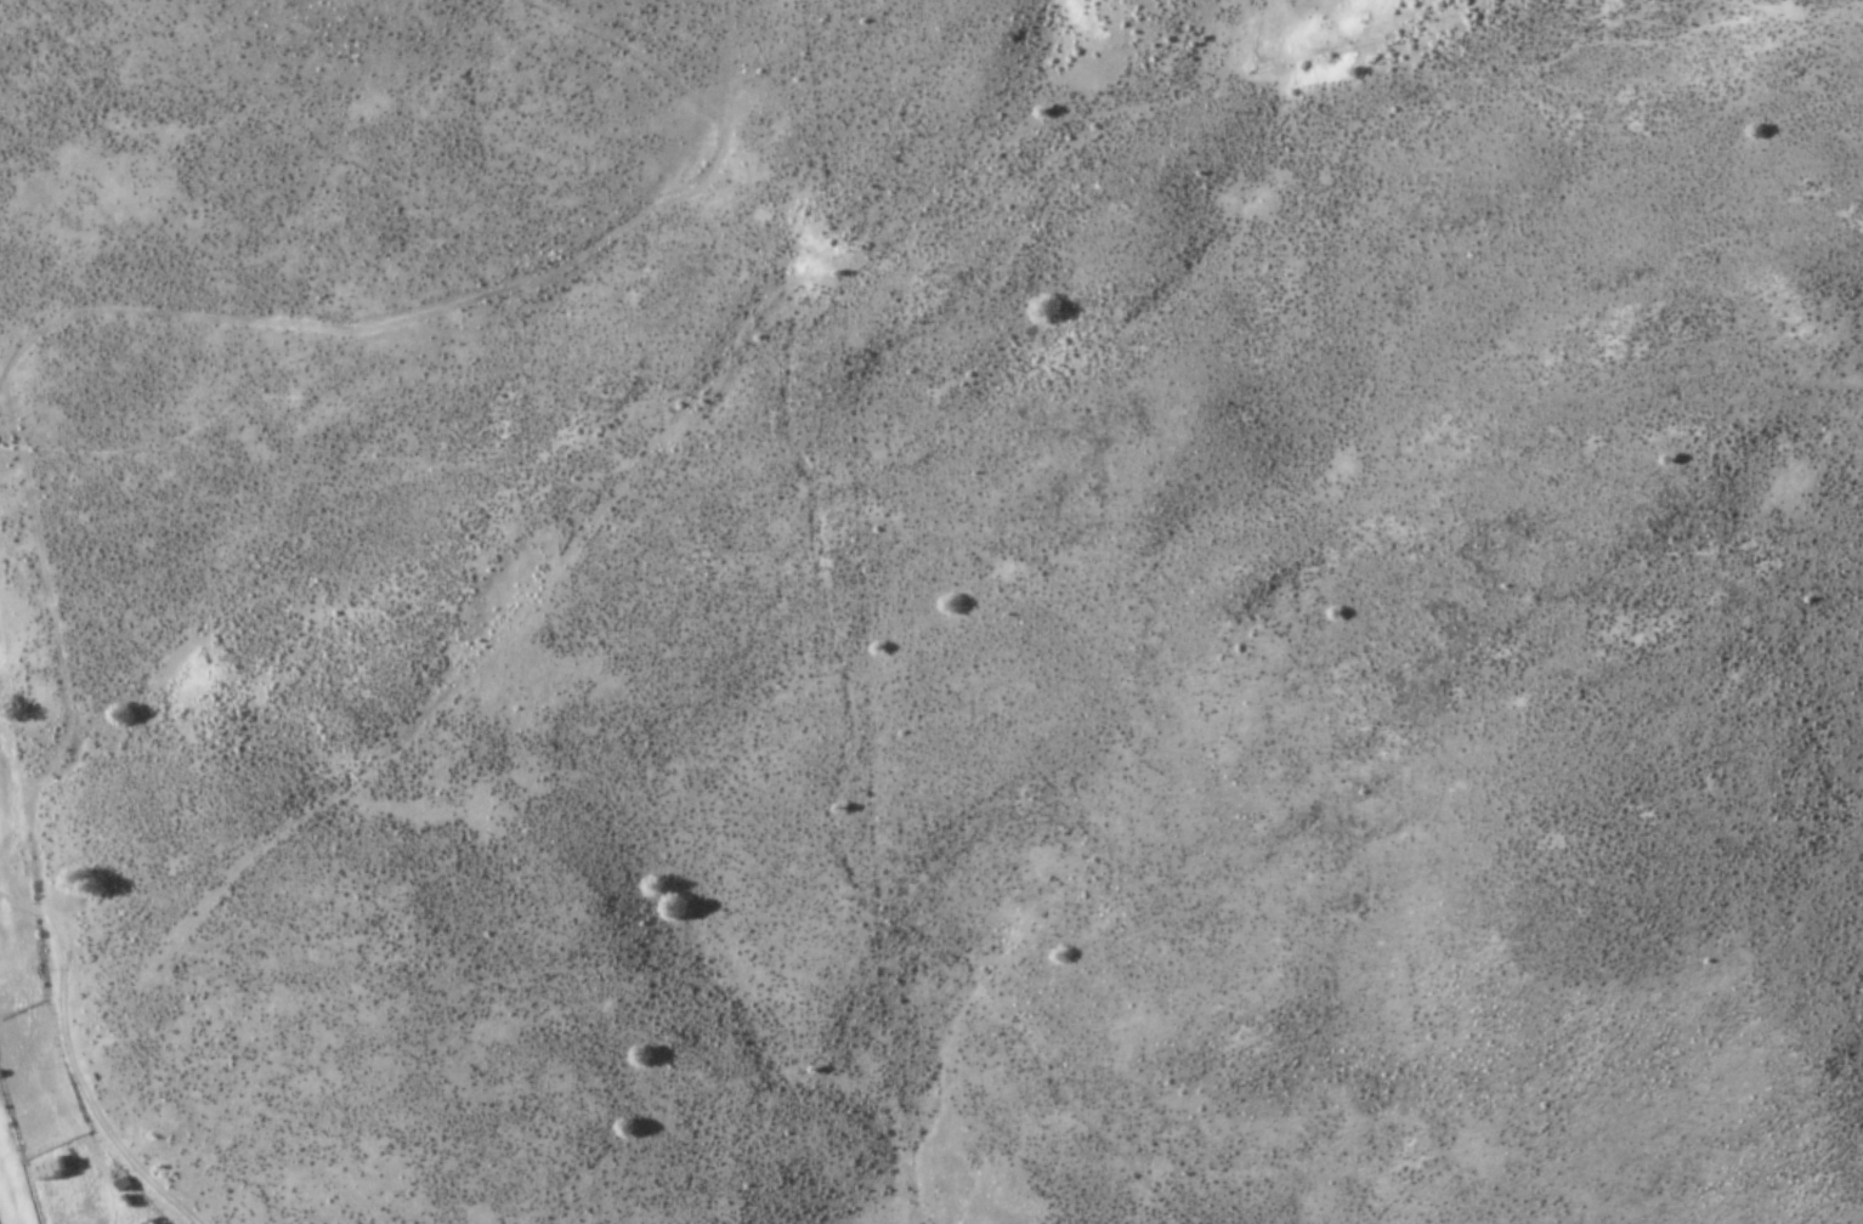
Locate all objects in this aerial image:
road: (466, 307)
road: (0, 828)

